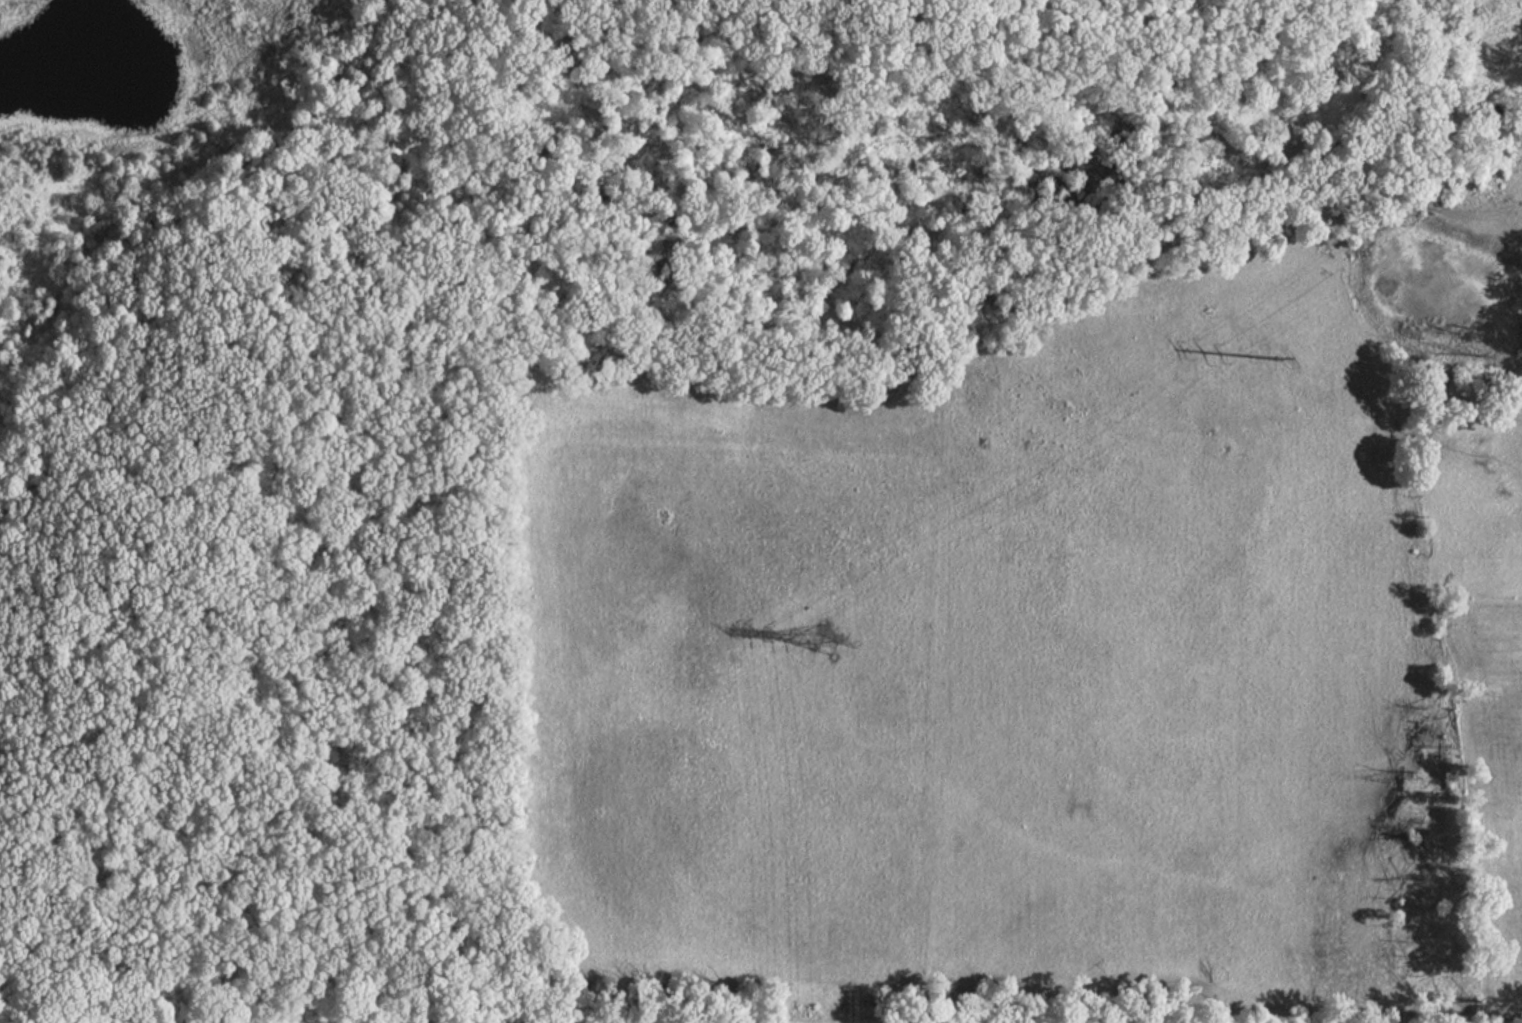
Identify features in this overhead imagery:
road: (129, 226)
power tower: (1276, 366)
park: (384, 416)
power tower: (829, 647)
wastewater plant: (334, 1015)

